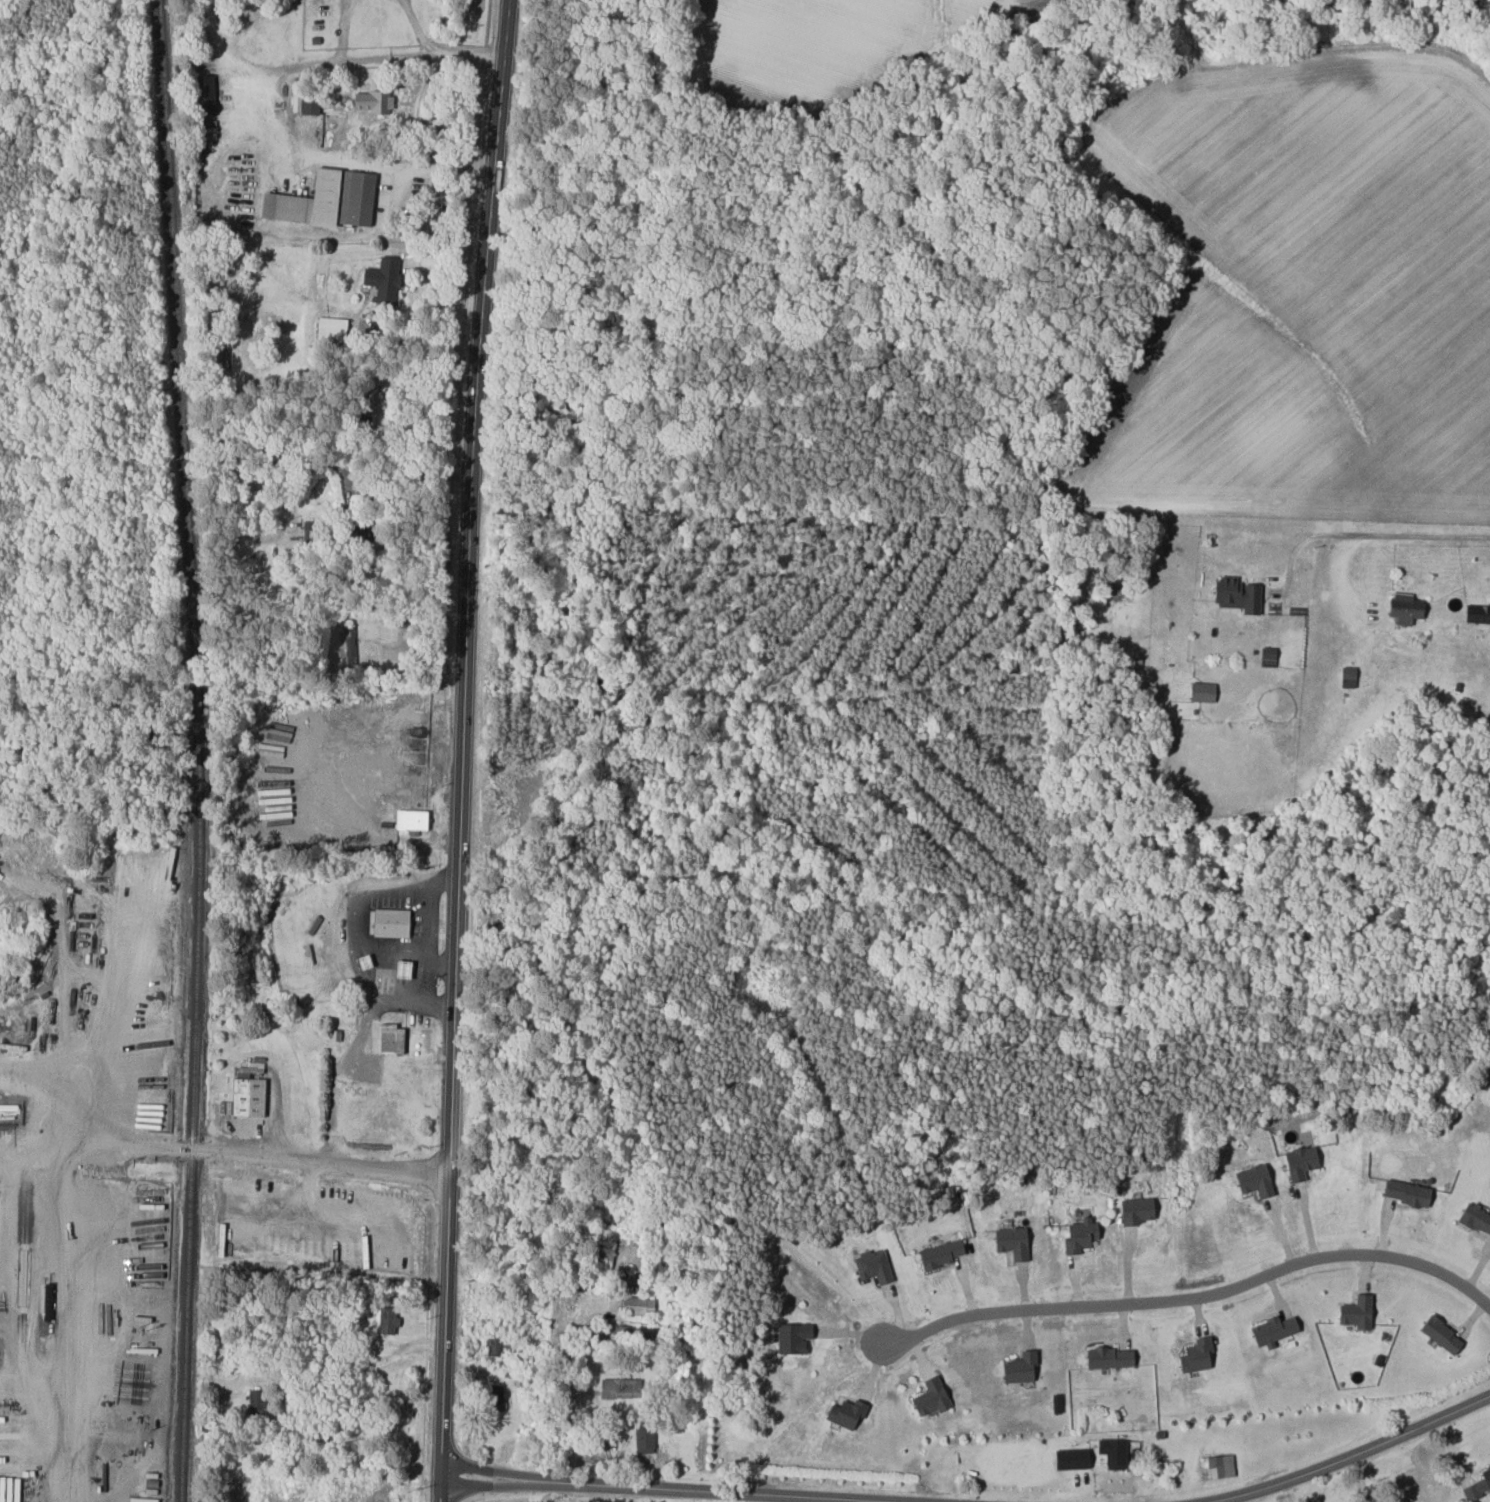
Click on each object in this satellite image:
road: (416, 26)
road: (343, 29)
road: (375, 56)
building: (206, 94)
building: (372, 102)
building: (305, 104)
road: (414, 110)
road: (310, 153)
building: (325, 200)
building: (383, 280)
building: (330, 328)
building: (220, 358)
road: (405, 472)
road: (1362, 535)
road: (467, 585)
building: (1237, 593)
building: (1405, 607)
building: (1478, 612)
building: (347, 645)
building: (1268, 656)
building: (1348, 676)
building: (1203, 691)
railway: (199, 750)
building: (382, 811)
building: (411, 819)
road: (356, 905)
building: (390, 922)
road: (389, 940)
road: (427, 944)
building: (386, 1037)
road: (355, 1047)
building: (248, 1096)
building: (225, 1108)
road: (121, 1138)
road: (30, 1161)
building: (1301, 1162)
building: (1255, 1180)
road: (212, 1184)
building: (9, 1188)
building: (1408, 1192)
building: (1137, 1210)
building: (1476, 1217)
building: (1081, 1235)
building: (1012, 1241)
building: (941, 1252)
building: (873, 1265)
road: (1193, 1296)
building: (640, 1305)
building: (1357, 1312)
building: (388, 1320)
building: (1273, 1330)
building: (1442, 1334)
road: (443, 1337)
building: (791, 1337)
road: (67, 1353)
building: (1197, 1355)
building: (1110, 1357)
building: (1020, 1367)
road: (561, 1377)
building: (619, 1388)
building: (931, 1396)
building: (494, 1397)
building: (847, 1413)
building: (644, 1437)
road: (1451, 1449)
building: (1114, 1452)
road: (1353, 1454)
building: (1072, 1458)
building: (1217, 1466)
road: (1360, 1478)
building: (1479, 1486)
road: (1469, 1488)
road: (639, 1489)
road: (1289, 1492)
road: (1476, 1498)

